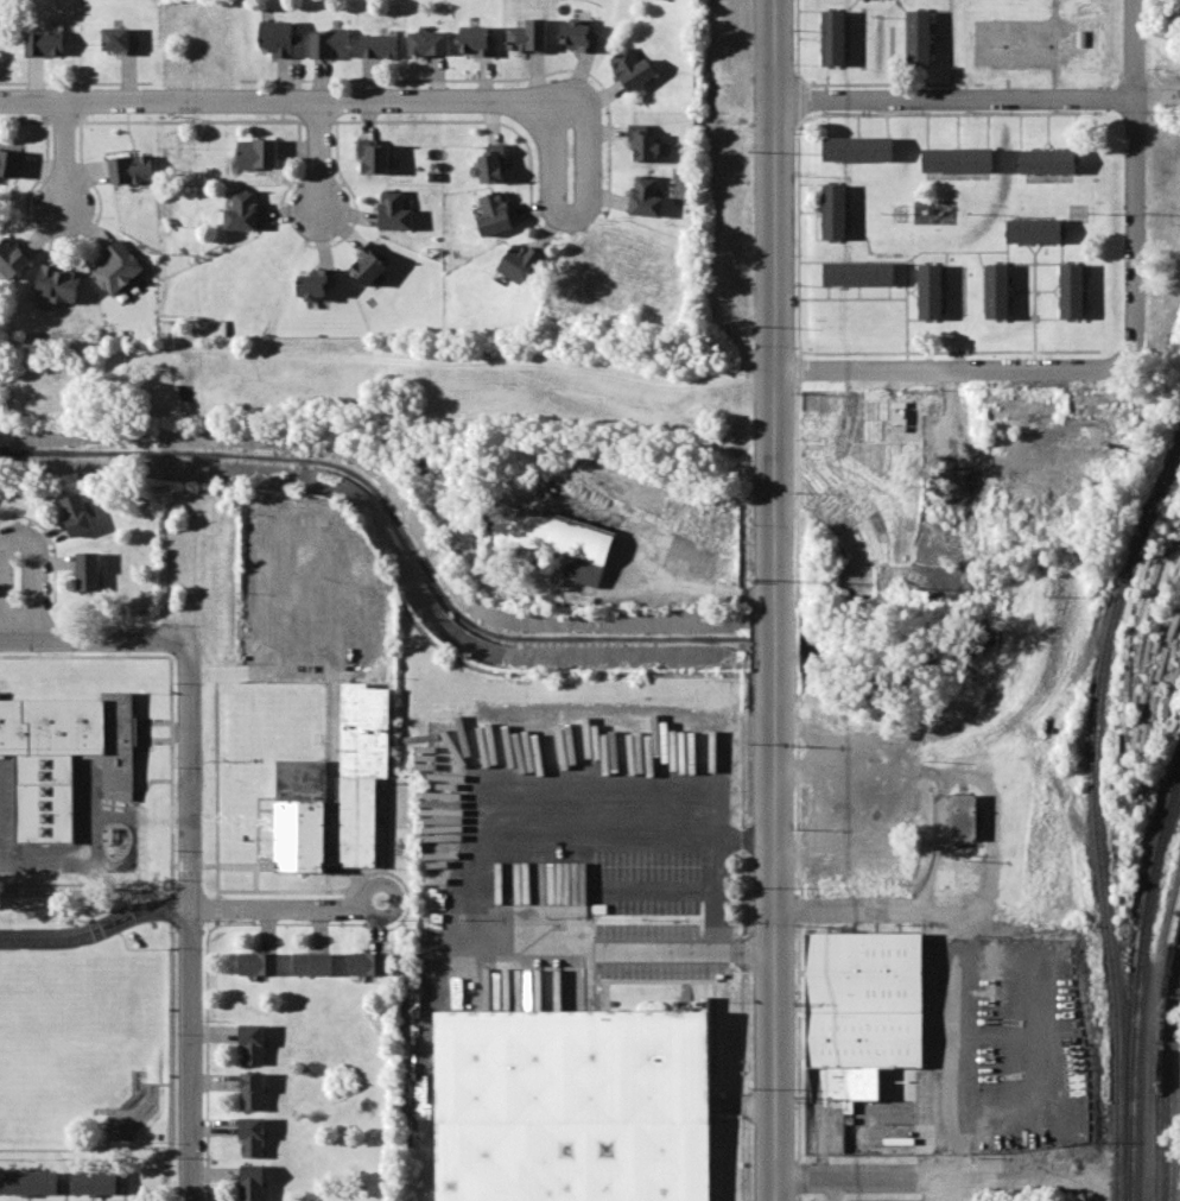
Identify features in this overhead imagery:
building: (577, 34)
building: (526, 36)
building: (919, 37)
building: (279, 38)
building: (832, 38)
building: (118, 40)
building: (475, 40)
building: (426, 42)
building: (43, 43)
building: (328, 43)
building: (378, 45)
building: (630, 68)
road: (977, 99)
road: (300, 100)
road: (829, 125)
road: (859, 125)
road: (888, 125)
road: (928, 131)
road: (958, 131)
road: (989, 131)
road: (1021, 131)
road: (1048, 131)
building: (641, 144)
road: (1052, 145)
building: (858, 148)
road: (64, 152)
building: (256, 152)
road: (318, 156)
building: (373, 157)
building: (958, 159)
building: (1048, 160)
building: (490, 163)
building: (9, 164)
building: (129, 169)
road: (798, 172)
road: (1135, 182)
building: (645, 196)
road: (585, 206)
building: (392, 209)
building: (241, 210)
road: (817, 210)
building: (833, 210)
road: (807, 211)
building: (493, 214)
building: (1034, 230)
road: (1030, 247)
road: (1007, 248)
road: (1062, 248)
road: (954, 251)
building: (12, 258)
road: (981, 259)
building: (518, 261)
road: (906, 261)
road: (944, 261)
road: (916, 263)
road: (1034, 263)
building: (367, 265)
building: (116, 267)
building: (858, 274)
building: (316, 283)
building: (58, 284)
road: (914, 287)
building: (928, 290)
building: (996, 290)
road: (1033, 290)
building: (1072, 290)
road: (912, 291)
road: (829, 292)
road: (859, 292)
road: (889, 292)
road: (1057, 293)
road: (1013, 295)
road: (852, 298)
road: (774, 302)
road: (1035, 303)
road: (1035, 318)
road: (916, 320)
road: (950, 352)
road: (949, 368)
building: (893, 419)
building: (78, 514)
building: (559, 533)
road: (18, 537)
building: (88, 571)
road: (83, 637)
road: (774, 638)
road: (142, 731)
building: (77, 733)
road: (802, 769)
road: (172, 773)
building: (303, 776)
road: (148, 783)
road: (832, 792)
railway: (1096, 814)
building: (963, 816)
building: (575, 880)
road: (171, 899)
road: (859, 902)
road: (286, 908)
road: (190, 912)
road: (95, 928)
road: (778, 935)
road: (633, 950)
building: (312, 962)
building: (368, 962)
building: (259, 963)
railway: (1137, 986)
building: (867, 1011)
park: (64, 1032)
building: (253, 1043)
park: (91, 1047)
road: (943, 1051)
railway: (1160, 1056)
railway: (1171, 1086)
building: (253, 1091)
building: (572, 1106)
building: (252, 1136)
road: (945, 1172)
building: (96, 1181)
building: (31, 1182)
building: (253, 1183)

